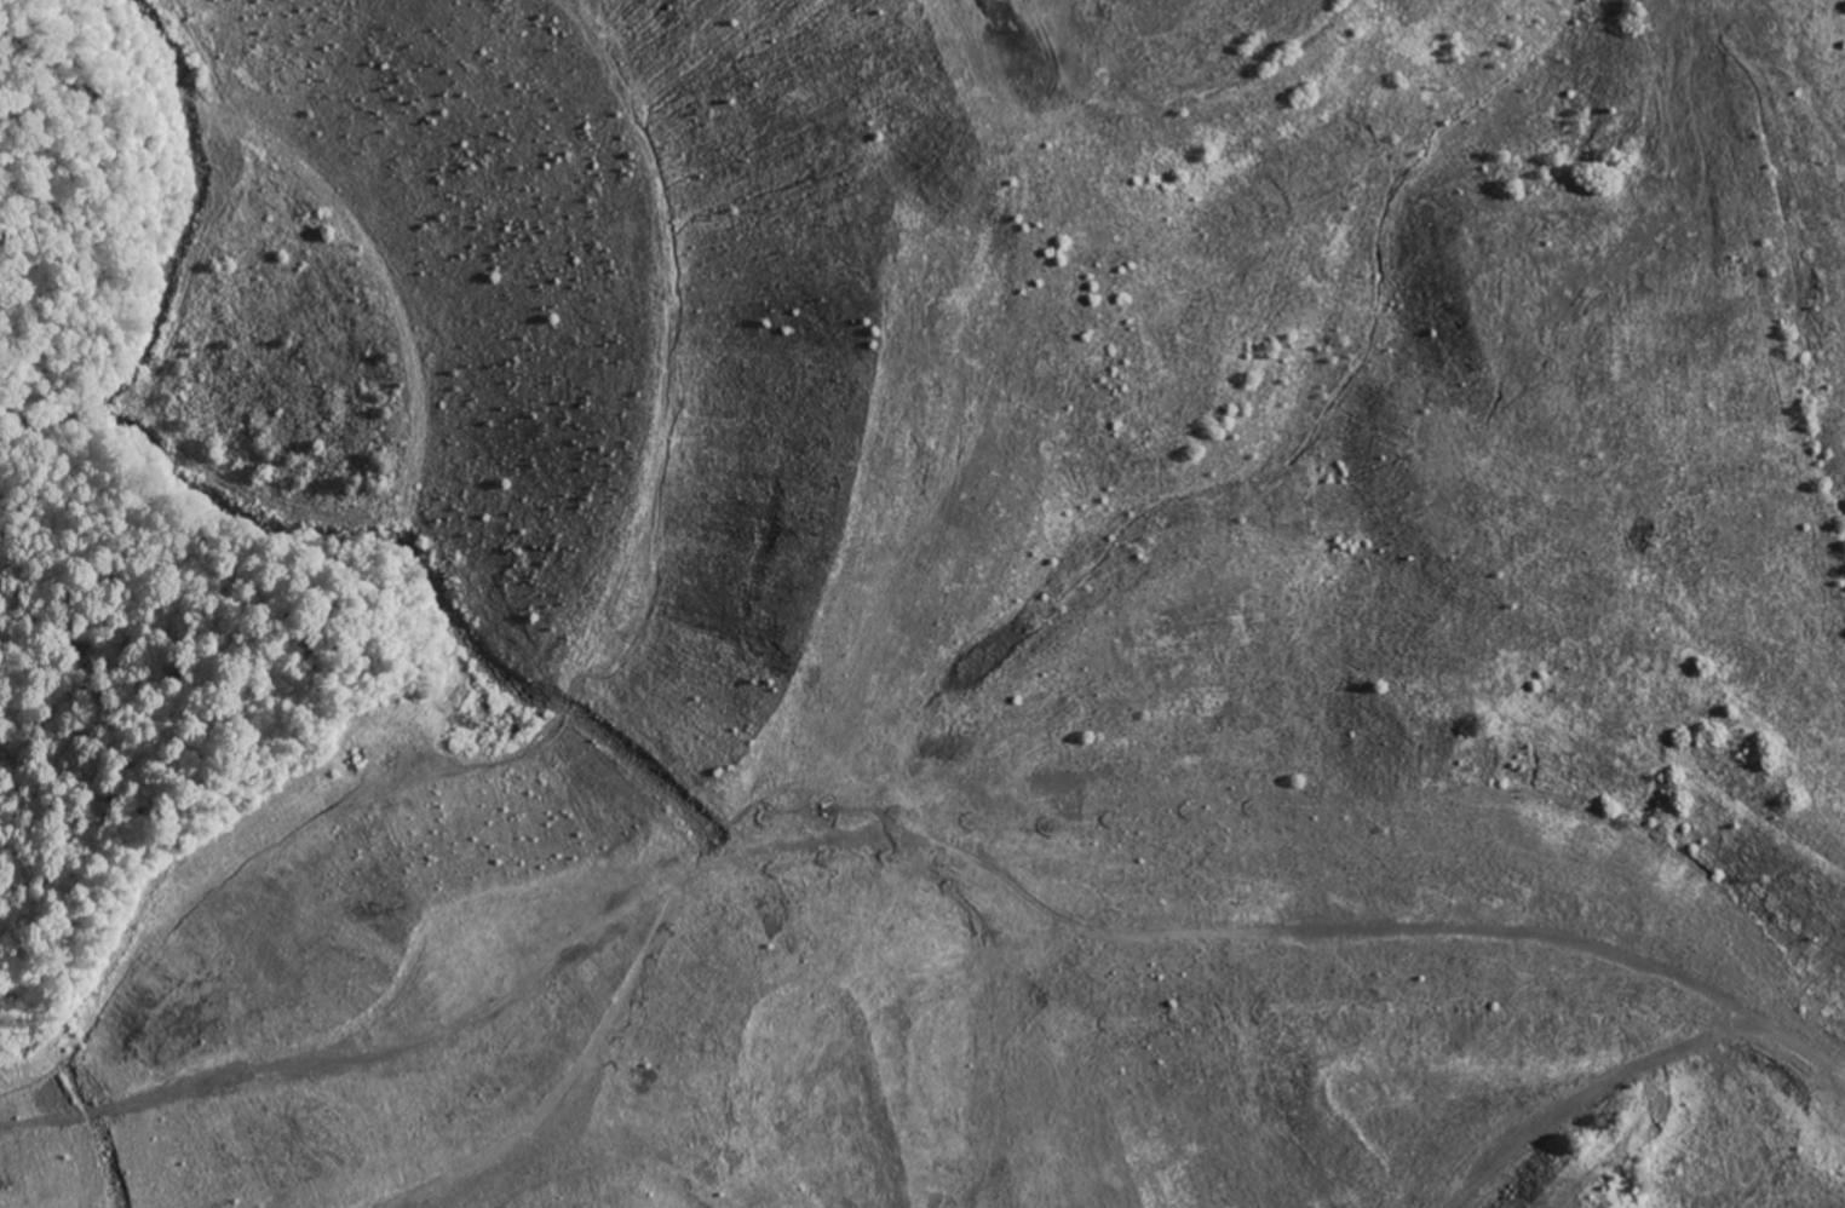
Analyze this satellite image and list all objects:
quarry: (389, 5)
road: (1741, 407)

